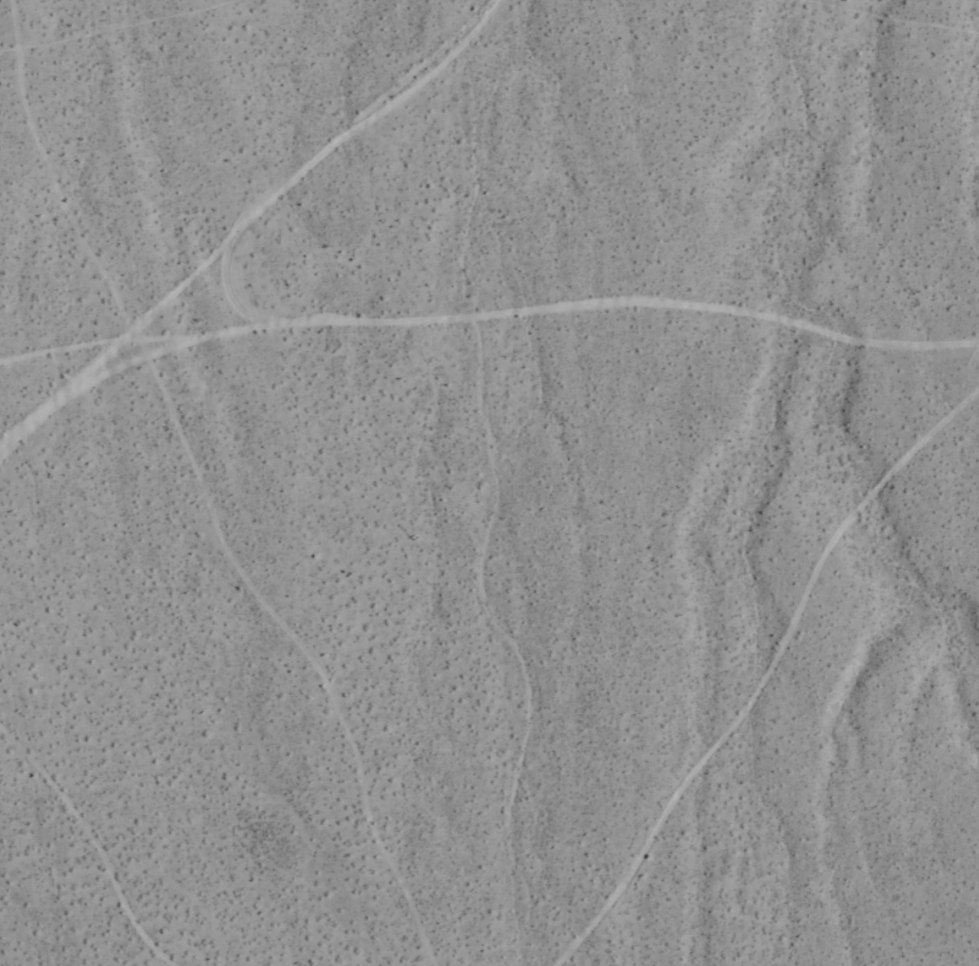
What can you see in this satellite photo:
road: (239, 221)
road: (487, 332)
road: (752, 666)

